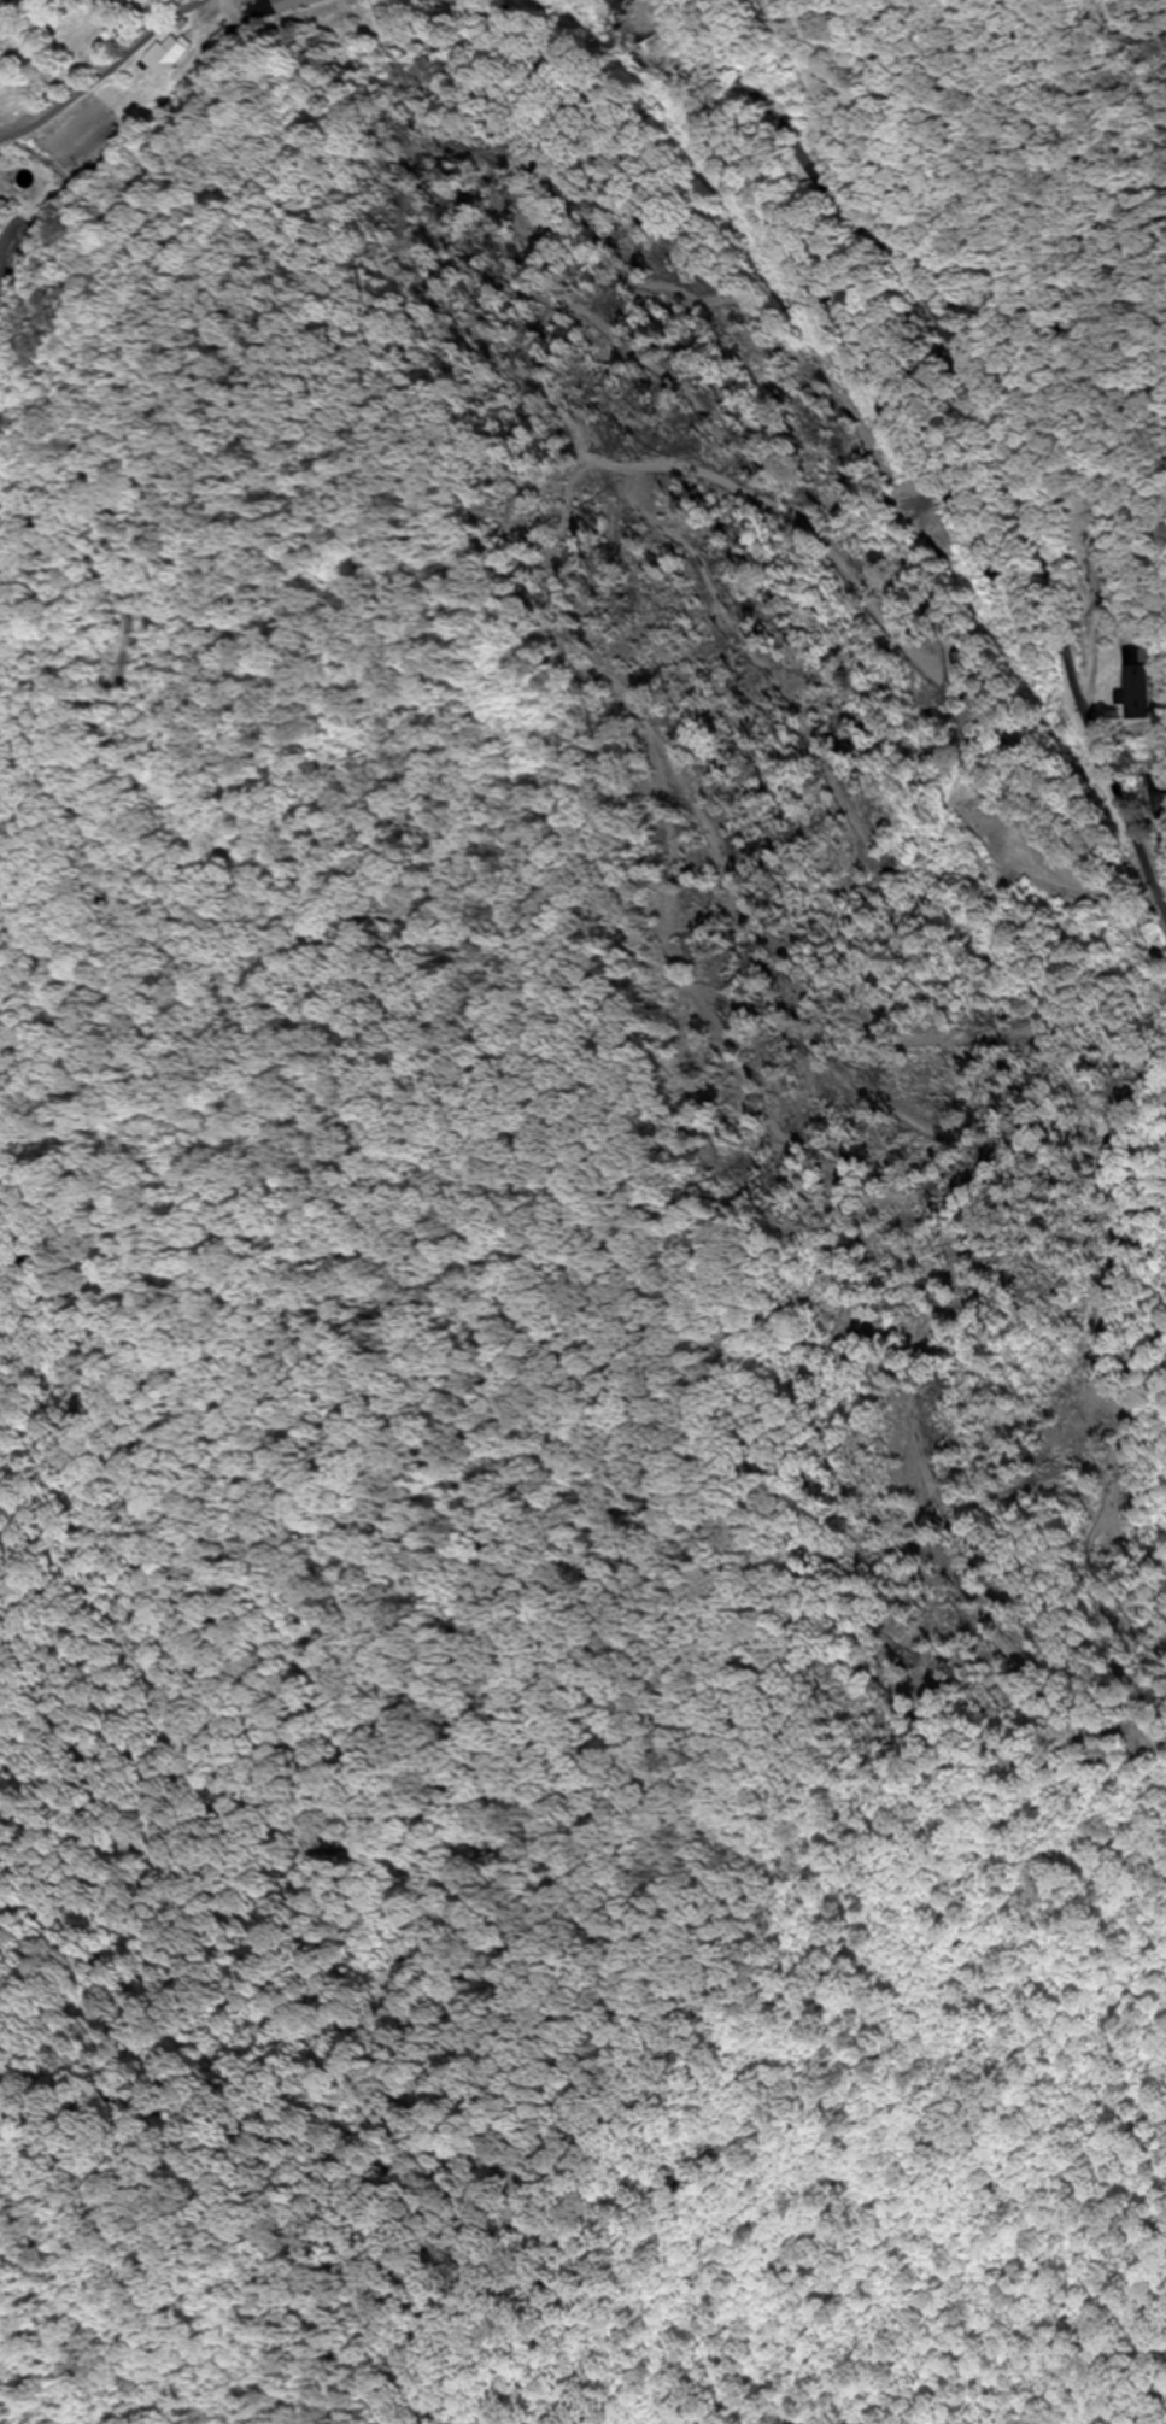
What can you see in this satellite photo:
building: (294, 5)
building: (656, 29)
building: (169, 55)
road: (109, 75)
road: (1013, 413)
building: (1139, 653)
building: (1143, 693)
road: (156, 2121)

